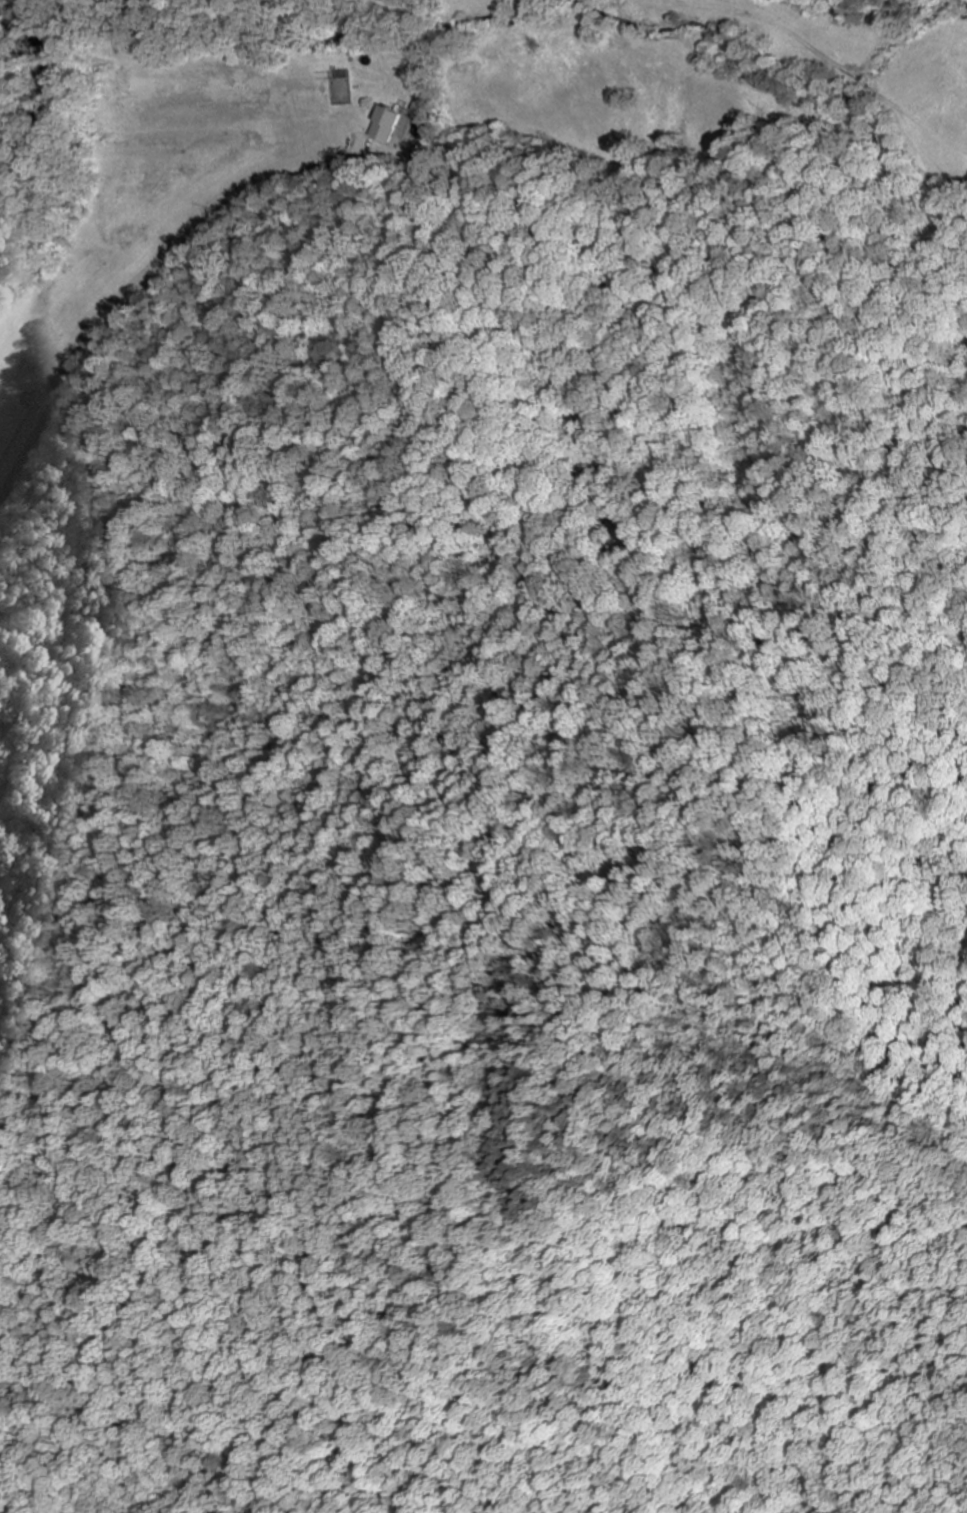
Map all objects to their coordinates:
building: (414, 120)
building: (385, 125)
road: (146, 287)

